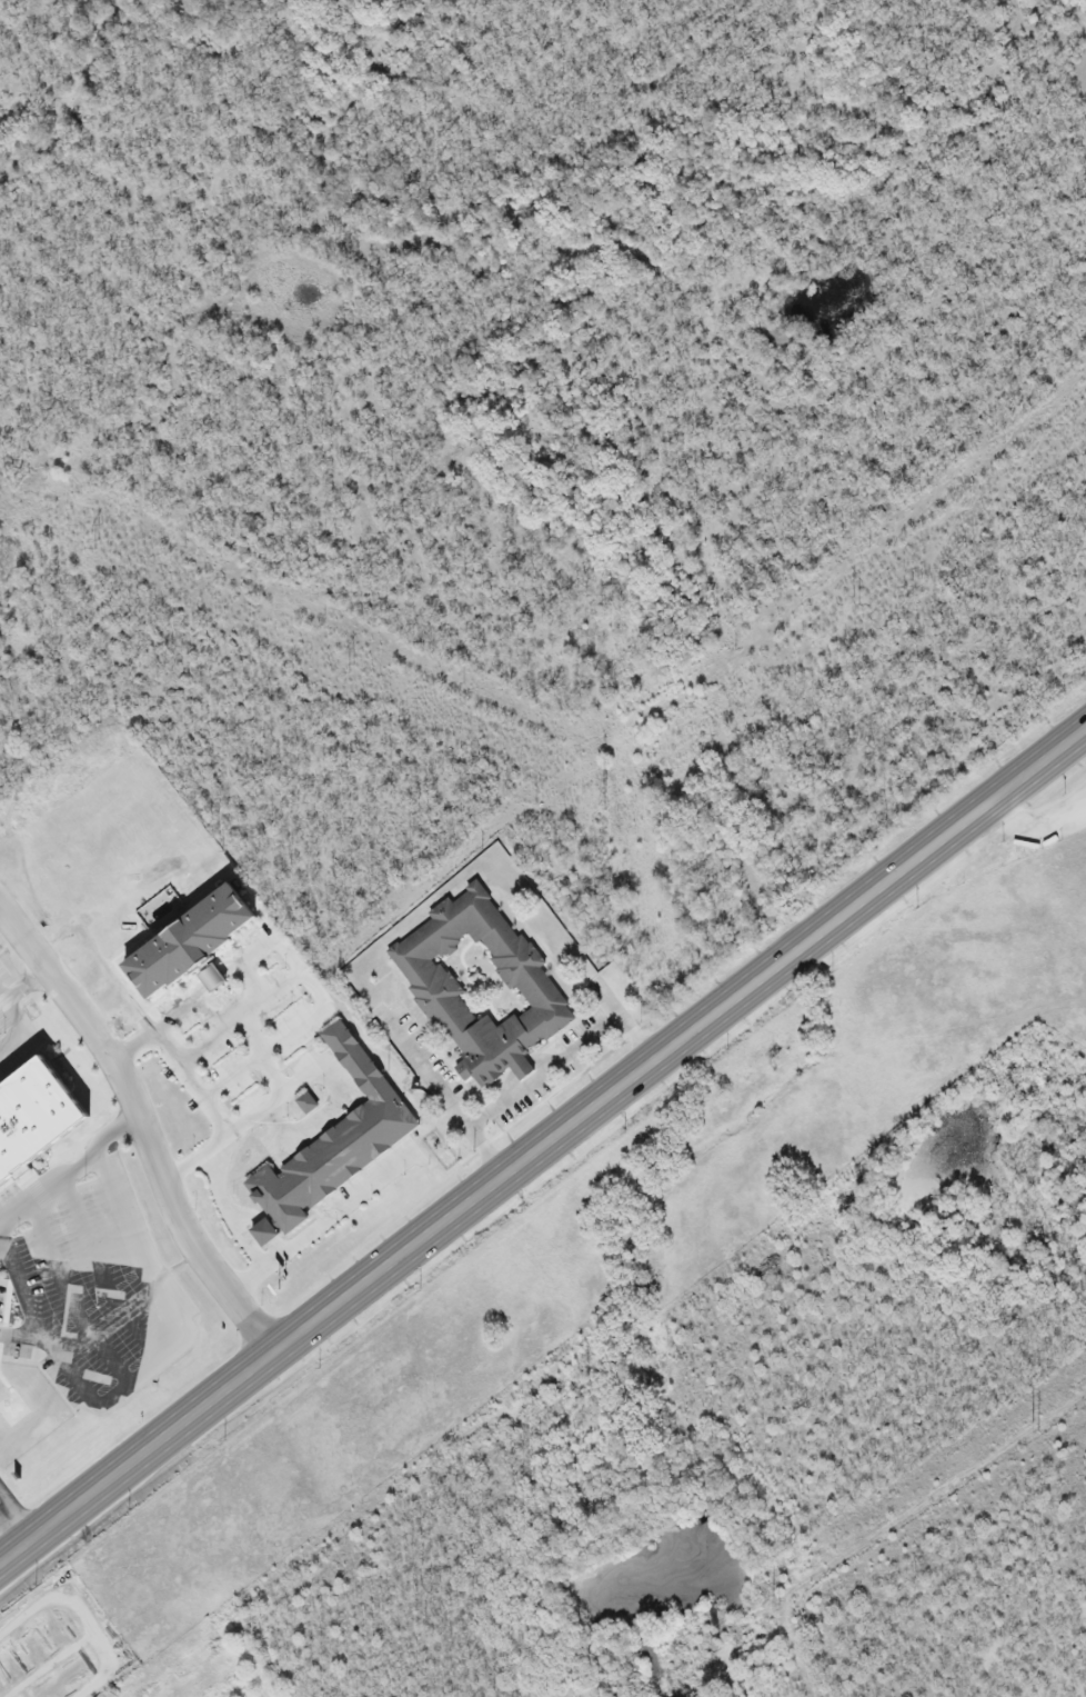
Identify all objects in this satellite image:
power tower: (99, 545)
power tower: (856, 601)
power tower: (609, 791)
road: (1035, 827)
road: (911, 862)
building: (175, 945)
building: (213, 980)
building: (481, 988)
road: (542, 1075)
building: (306, 1104)
building: (36, 1117)
road: (142, 1125)
road: (220, 1144)
building: (333, 1148)
road: (69, 1168)
road: (193, 1168)
road: (95, 1264)
road: (368, 1281)
road: (14, 1309)
road: (56, 1329)
road: (161, 1341)
power tower: (1039, 1423)
road: (24, 1533)
power tower: (717, 1639)

